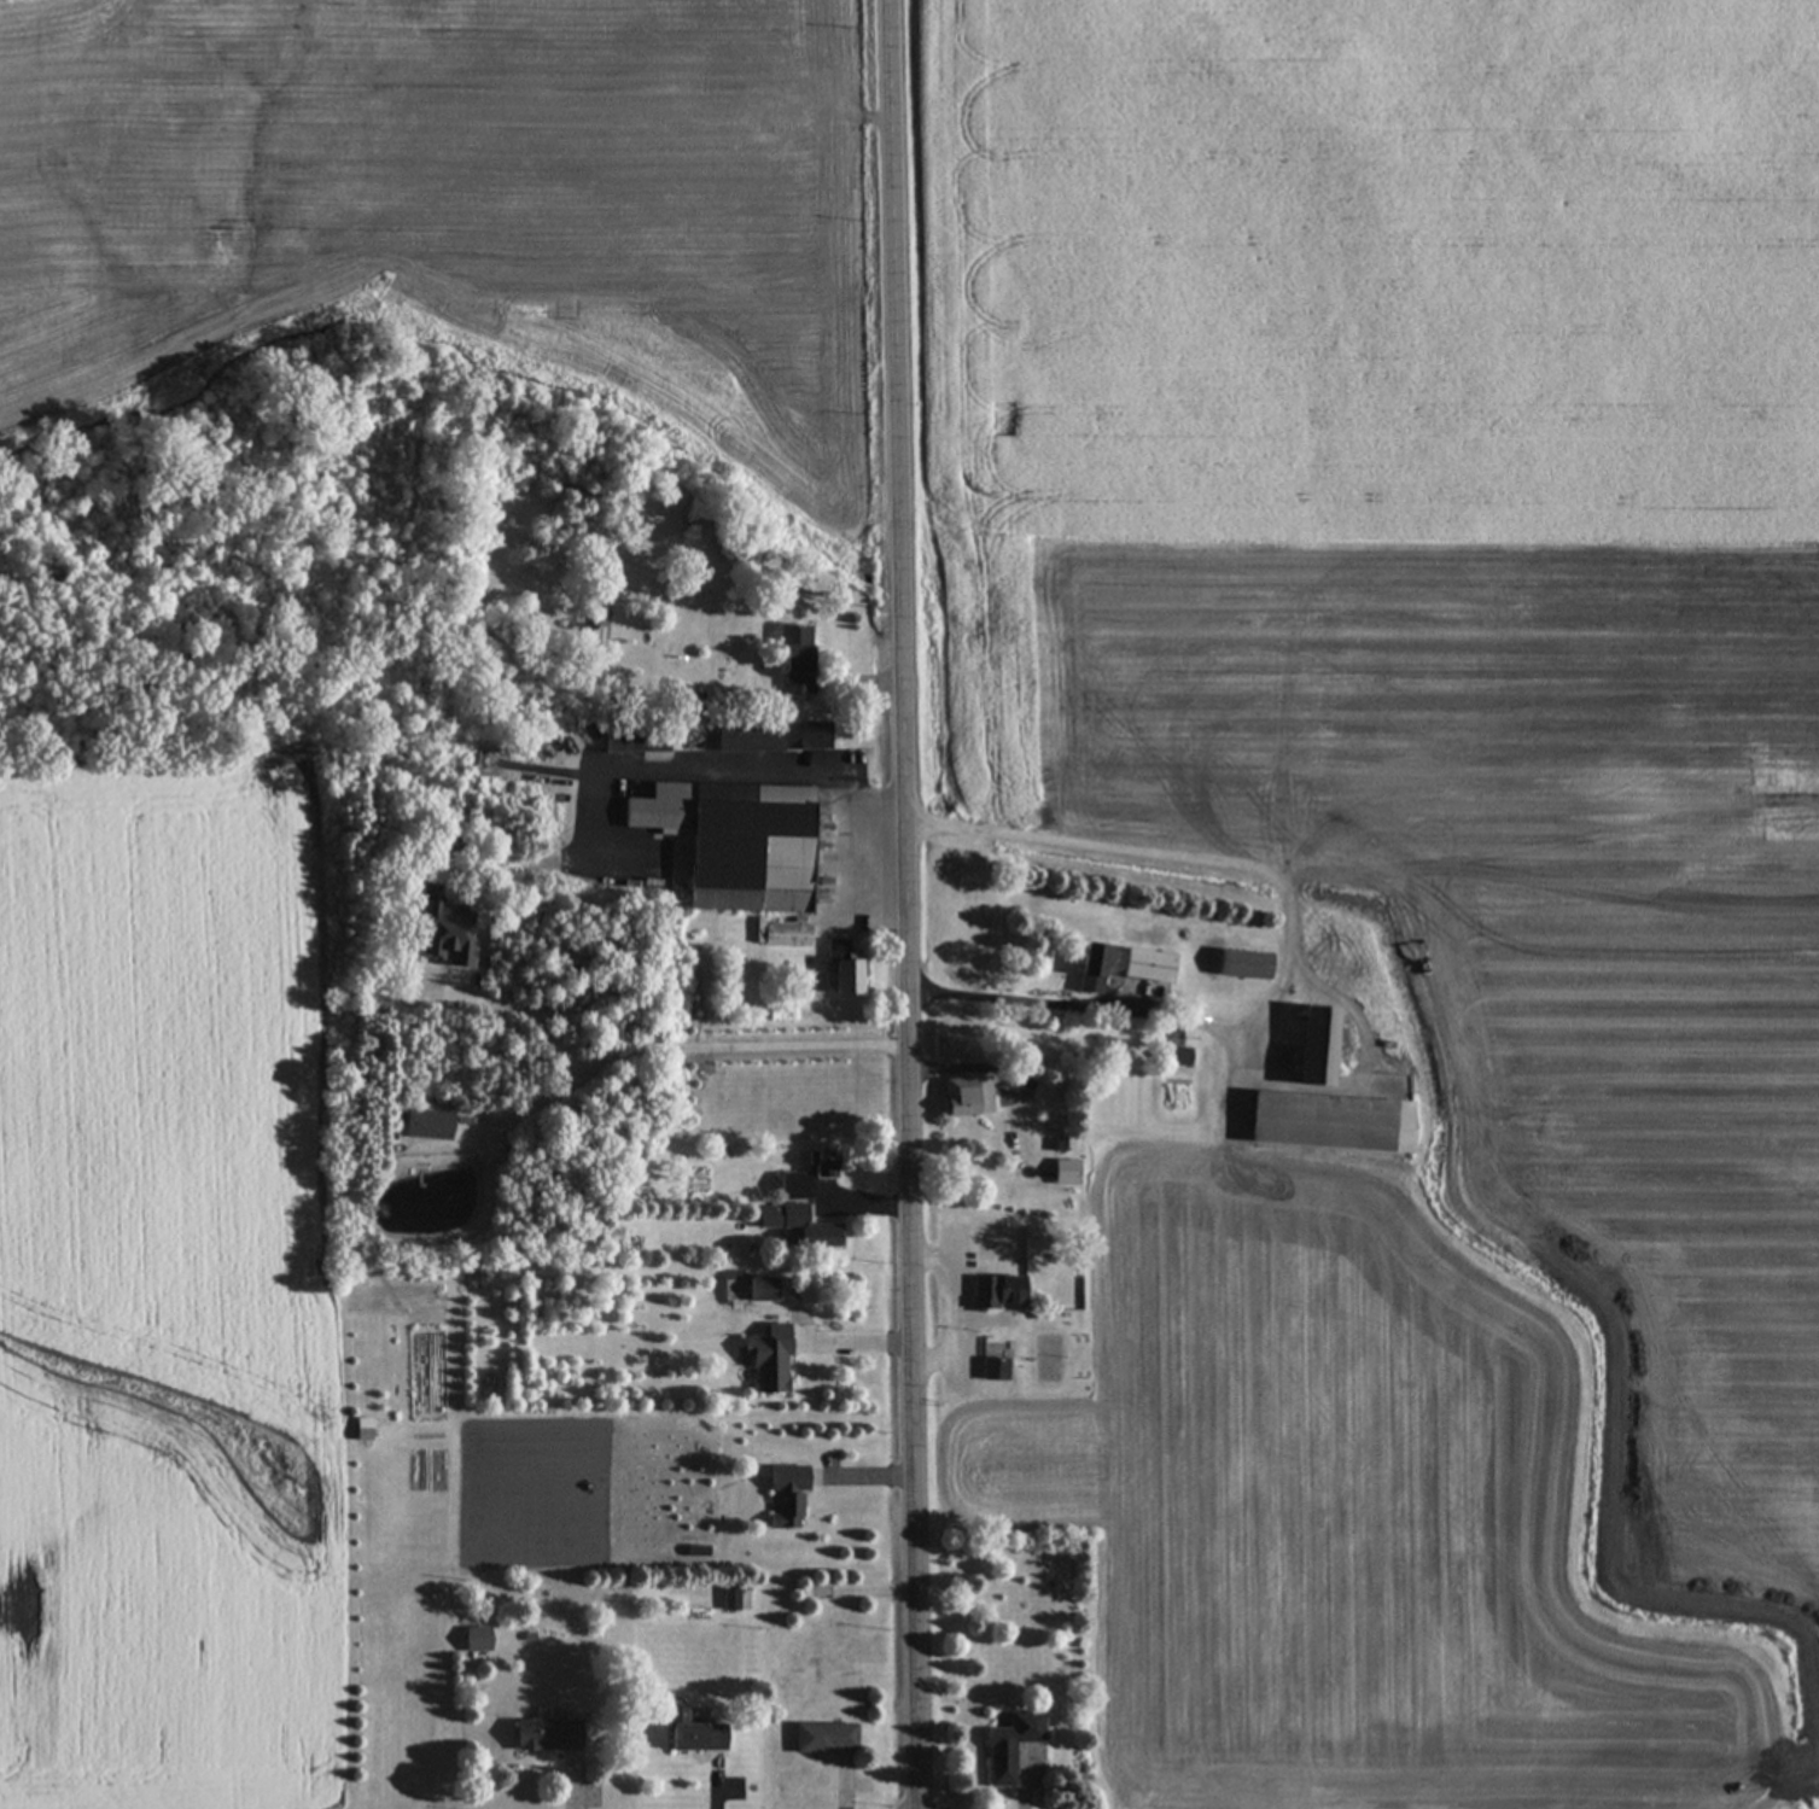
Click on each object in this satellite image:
building: (797, 661)
building: (774, 736)
building: (637, 739)
road: (759, 760)
building: (488, 763)
building: (735, 841)
road: (905, 904)
building: (792, 936)
road: (1288, 940)
building: (1244, 965)
building: (1149, 967)
building: (845, 969)
building: (1092, 969)
road: (683, 1041)
building: (1317, 1048)
building: (1177, 1058)
building: (967, 1097)
building: (1330, 1124)
building: (1067, 1173)
building: (808, 1178)
building: (800, 1226)
building: (998, 1294)
building: (770, 1361)
building: (995, 1371)
building: (787, 1499)
building: (477, 1641)
building: (677, 1717)
building: (548, 1735)
building: (696, 1738)
building: (826, 1738)
building: (1011, 1746)

